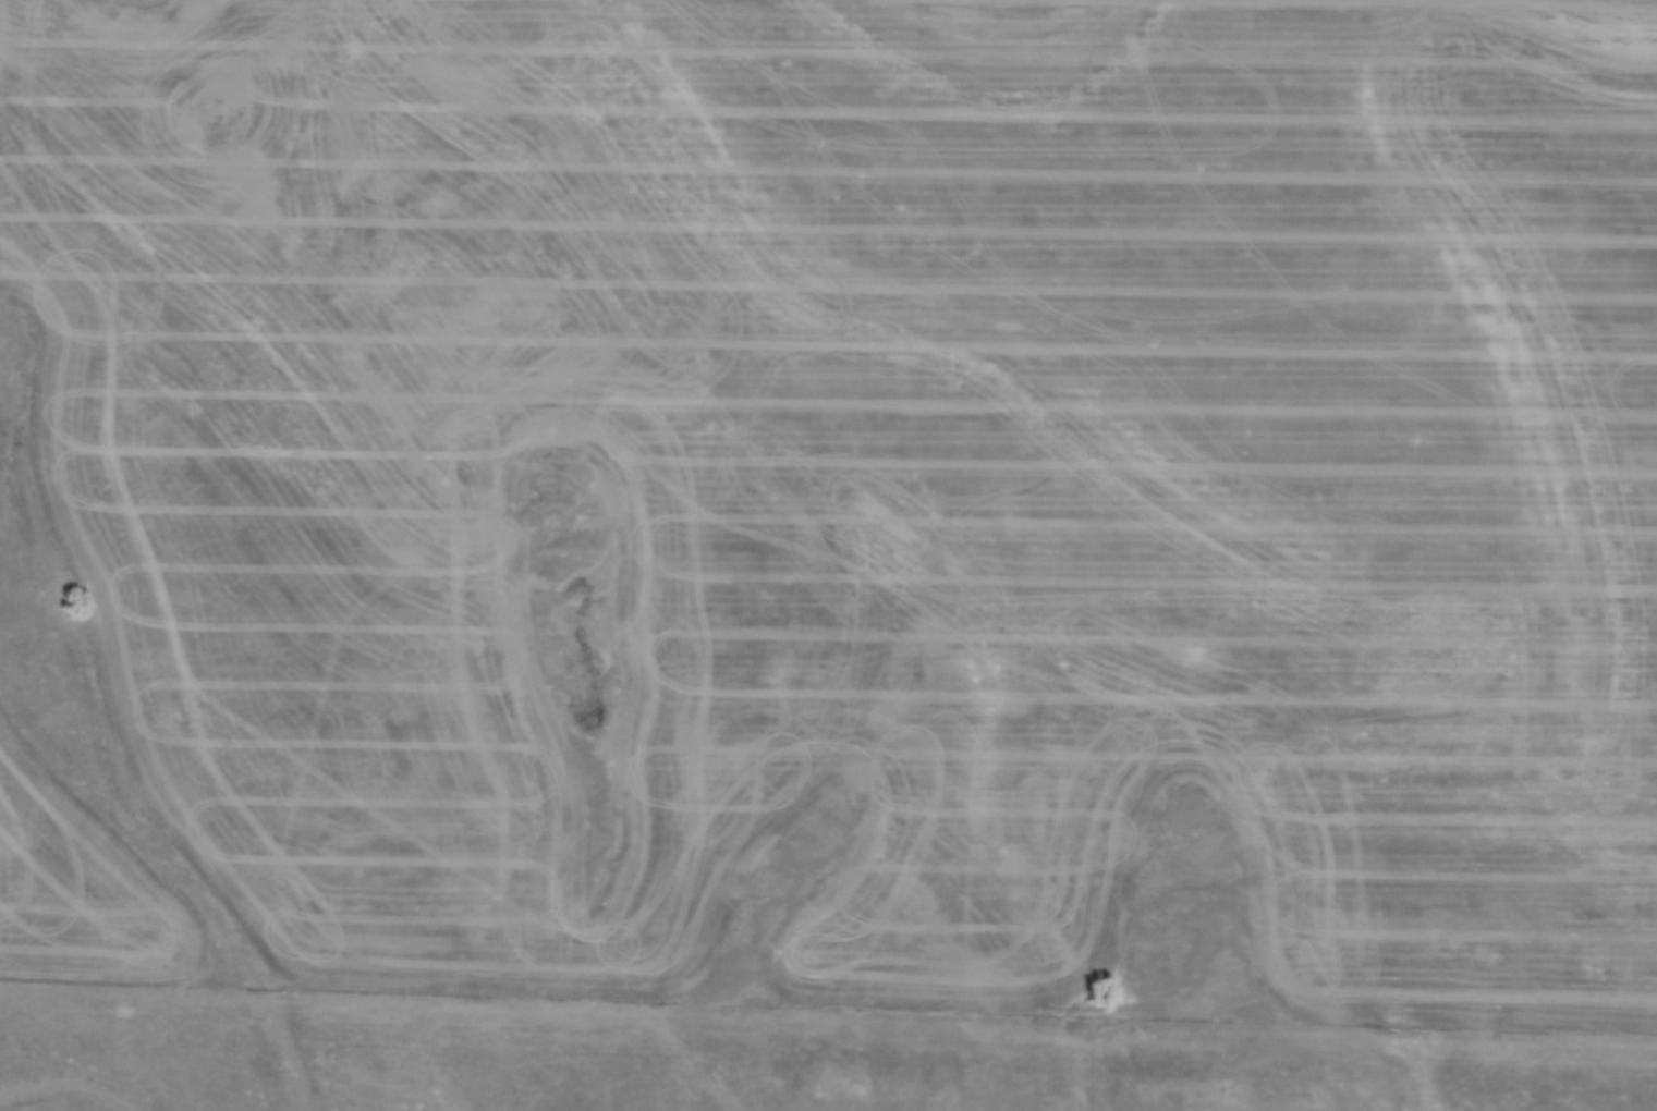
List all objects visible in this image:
crop: (869, 476)
crop: (78, 886)

